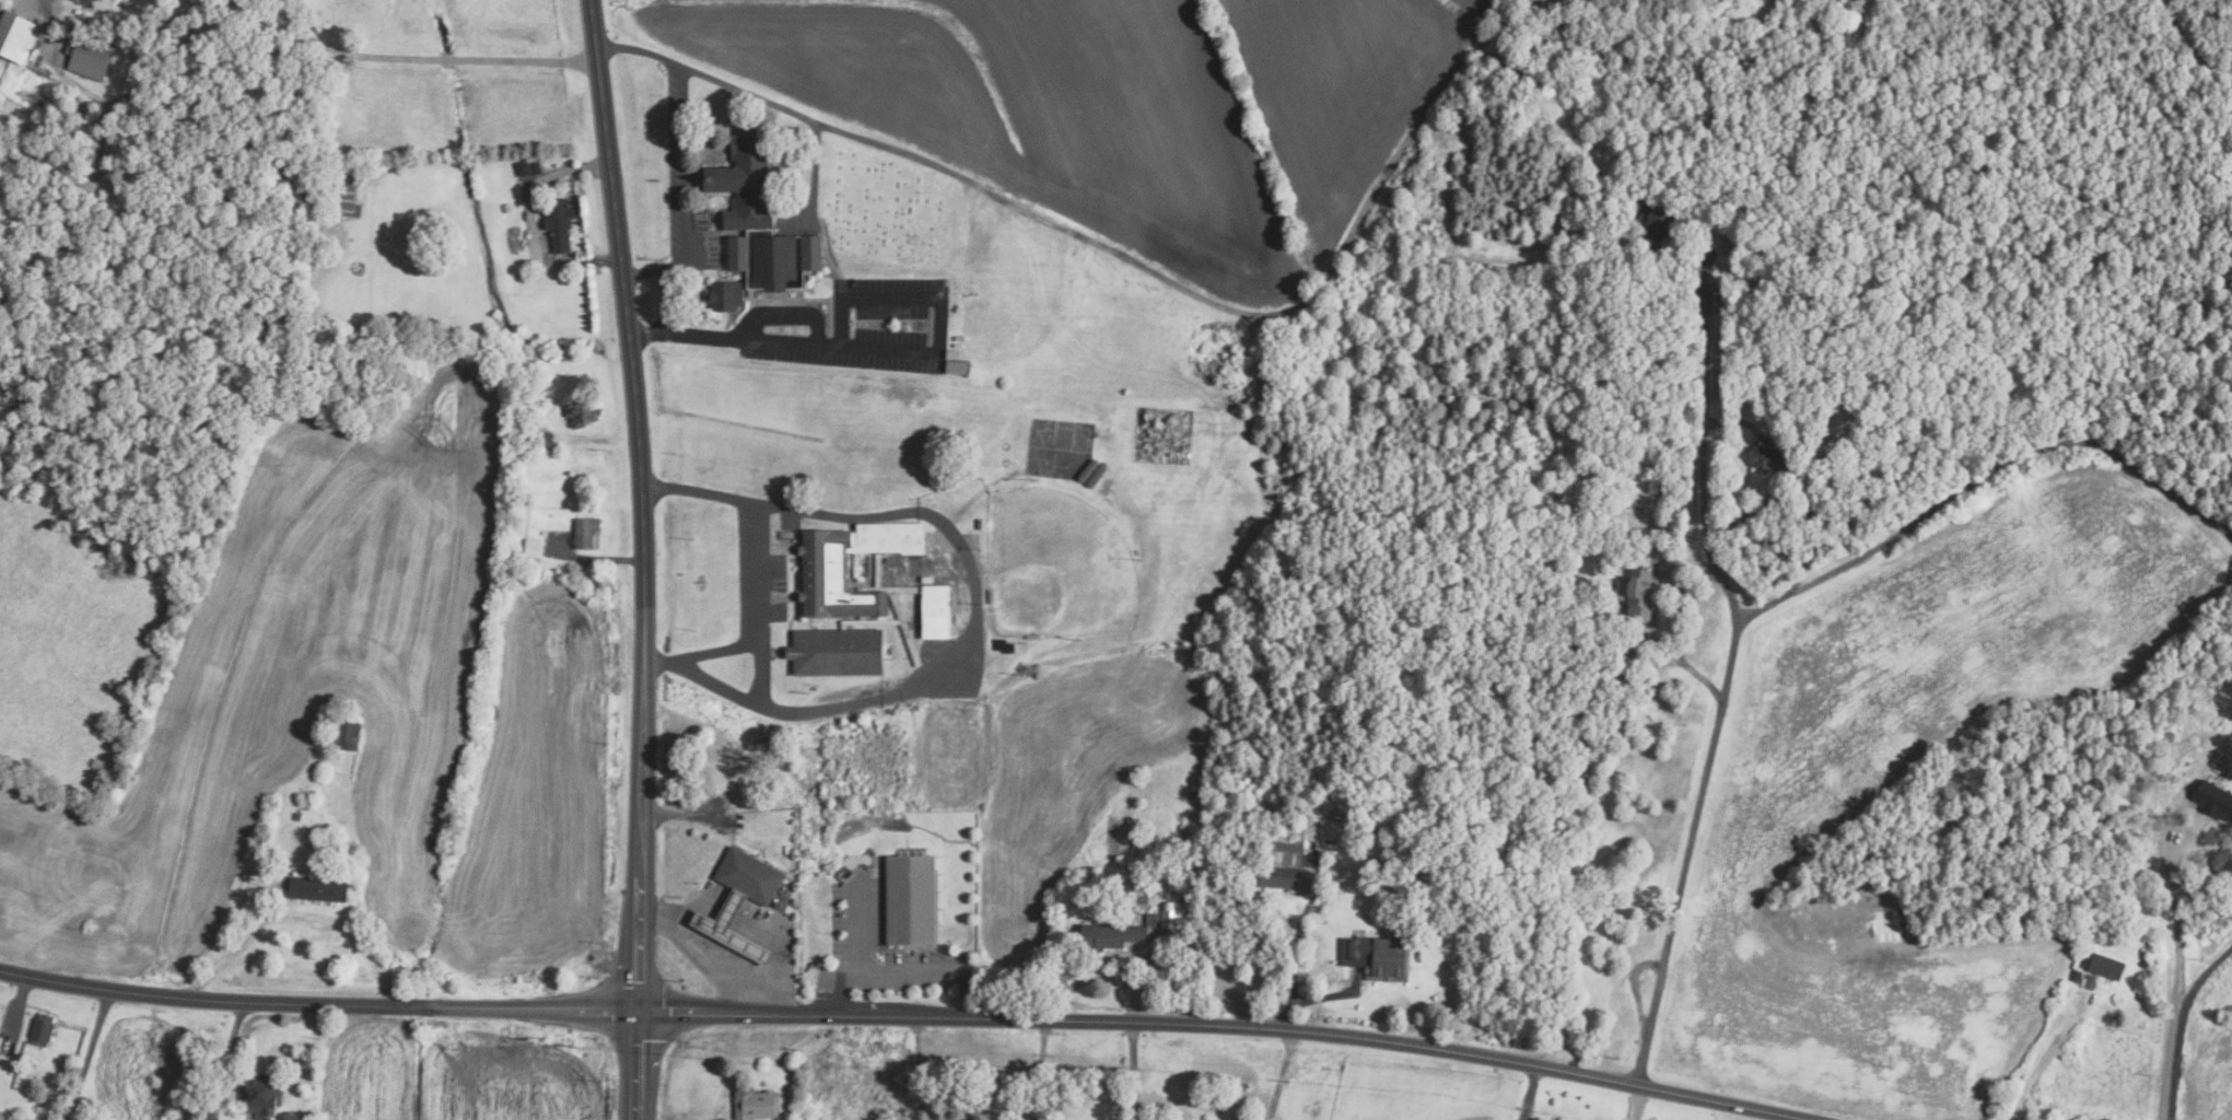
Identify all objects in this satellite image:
road: (206, 0)
road: (211, 0)
building: (1857, 1)
building: (16, 37)
road: (322, 44)
building: (89, 59)
road: (447, 59)
road: (526, 59)
crop: (1339, 90)
crop: (1024, 108)
building: (535, 167)
road: (537, 184)
road: (685, 191)
building: (343, 201)
park: (885, 212)
building: (759, 218)
building: (559, 224)
building: (1656, 224)
building: (1734, 246)
road: (1125, 257)
building: (725, 294)
road: (668, 304)
road: (852, 351)
building: (954, 353)
building: (956, 365)
building: (582, 411)
building: (537, 420)
building: (544, 441)
building: (1772, 458)
road: (1980, 476)
road: (1797, 495)
building: (982, 523)
building: (586, 533)
building: (534, 548)
road: (596, 558)
road: (647, 558)
road: (753, 570)
building: (825, 570)
building: (1640, 594)
building: (936, 610)
road: (972, 644)
building: (1005, 645)
building: (839, 649)
road: (1687, 663)
road: (1728, 670)
building: (347, 735)
building: (2215, 797)
crop: (1778, 825)
building: (317, 833)
building: (1286, 845)
building: (1282, 859)
building: (750, 871)
building: (1279, 877)
building: (1134, 884)
building: (318, 888)
building: (911, 896)
road: (296, 917)
building: (732, 923)
road: (1295, 926)
building: (1130, 931)
road: (696, 953)
building: (1379, 957)
building: (2146, 962)
building: (2105, 966)
road: (861, 968)
road: (2176, 971)
building: (2077, 975)
road: (1102, 976)
road: (763, 980)
road: (833, 981)
building: (2090, 981)
road: (1332, 994)
road: (15, 1011)
traffic signals: (642, 1011)
road: (1286, 1012)
road: (915, 1014)
road: (2181, 1024)
building: (42, 1029)
road: (84, 1054)
road: (2043, 1054)
building: (70, 1059)
road: (226, 1060)
road: (916, 1066)
road: (1039, 1067)
road: (1132, 1069)
road: (1279, 1073)
building: (61, 1074)
crop: (455, 1077)
road: (1529, 1090)
building: (262, 1094)
road: (1634, 1100)
building: (757, 1104)

